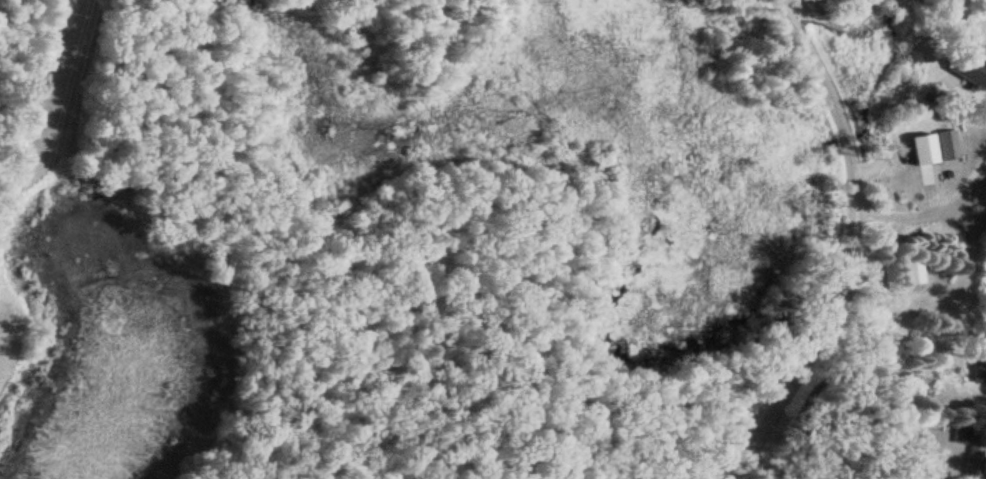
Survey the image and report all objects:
building: (968, 71)
building: (949, 143)
road: (855, 243)
building: (914, 270)
building: (975, 461)

